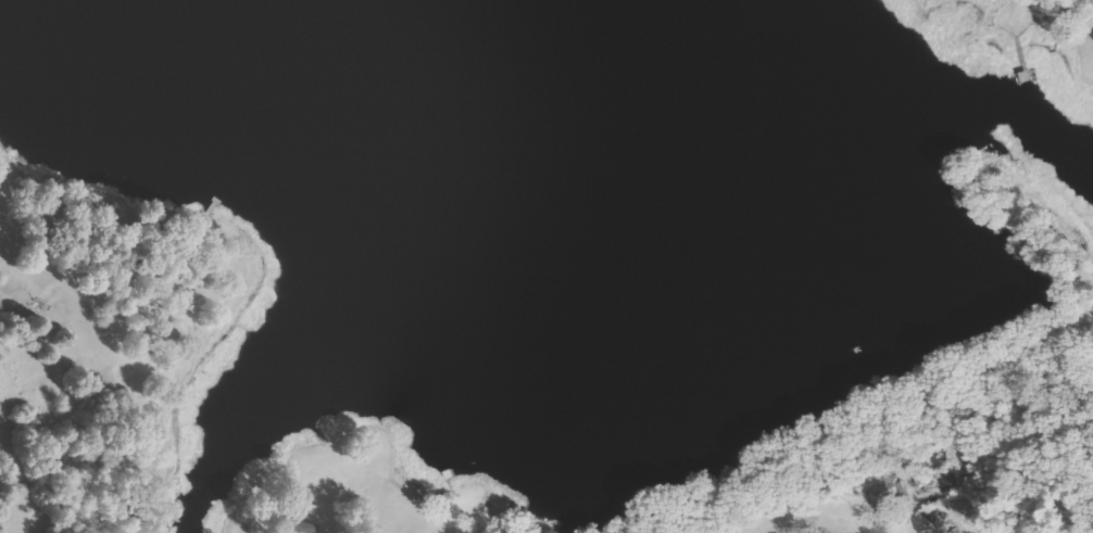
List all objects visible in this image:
road: (1082, 5)
building: (378, 443)
building: (888, 493)
road: (355, 523)

